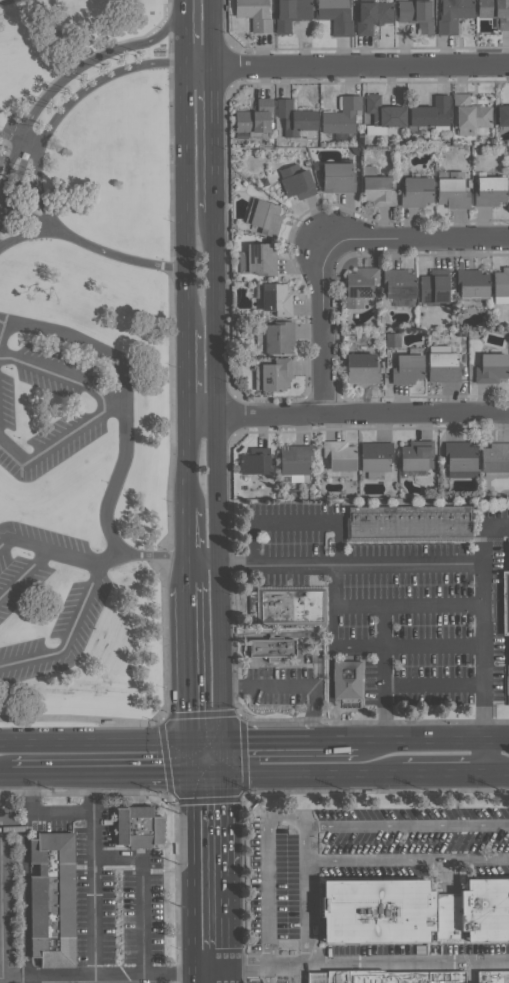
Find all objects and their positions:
building: (495, 12)
building: (254, 13)
building: (336, 15)
building: (416, 15)
building: (452, 15)
building: (372, 16)
road: (187, 33)
road: (214, 33)
road: (348, 66)
road: (66, 80)
road: (89, 89)
building: (431, 113)
building: (469, 115)
building: (502, 115)
building: (341, 116)
building: (254, 118)
building: (295, 118)
road: (9, 138)
road: (215, 139)
building: (2, 161)
building: (23, 169)
toll booth: (8, 172)
building: (337, 177)
building: (296, 182)
road: (39, 191)
building: (378, 191)
building: (416, 191)
building: (452, 191)
building: (490, 191)
road: (187, 198)
building: (264, 217)
road: (415, 235)
road: (26, 236)
road: (90, 249)
building: (257, 259)
building: (398, 284)
building: (472, 285)
building: (359, 286)
building: (501, 286)
building: (433, 288)
building: (276, 299)
road: (217, 313)
road: (319, 326)
road: (2, 329)
building: (278, 338)
building: (392, 340)
building: (360, 349)
building: (441, 365)
park: (87, 368)
building: (361, 368)
building: (406, 369)
building: (491, 369)
road: (188, 372)
road: (61, 375)
building: (273, 375)
road: (123, 405)
parking lot: (6, 414)
road: (203, 415)
road: (364, 415)
road: (170, 441)
road: (60, 443)
building: (339, 455)
building: (417, 455)
building: (375, 457)
building: (495, 457)
building: (294, 459)
road: (188, 460)
building: (459, 460)
building: (254, 463)
building: (298, 478)
road: (220, 489)
road: (294, 523)
building: (411, 523)
road: (497, 526)
road: (188, 533)
road: (50, 552)
road: (151, 554)
road: (205, 562)
road: (237, 564)
road: (369, 564)
road: (189, 571)
road: (24, 575)
building: (506, 601)
road: (434, 606)
parking lot: (83, 607)
building: (293, 607)
road: (336, 607)
road: (293, 633)
road: (485, 633)
road: (69, 641)
road: (435, 644)
building: (272, 650)
road: (222, 654)
road: (190, 663)
road: (385, 674)
building: (349, 680)
road: (296, 685)
road: (160, 717)
road: (497, 740)
road: (421, 741)
road: (336, 742)
road: (269, 743)
traffic signals: (223, 744)
road: (111, 745)
traffic signals: (191, 745)
road: (486, 757)
road: (192, 760)
road: (223, 760)
road: (445, 774)
road: (498, 774)
road: (313, 775)
road: (77, 776)
road: (167, 776)
traffic signals: (192, 776)
road: (207, 776)
traffic signals: (223, 776)
road: (6, 777)
road: (243, 791)
road: (61, 815)
road: (224, 818)
road: (407, 825)
road: (11, 828)
building: (138, 828)
road: (407, 860)
road: (267, 873)
road: (23, 874)
road: (92, 874)
road: (192, 875)
road: (139, 891)
parking lot: (289, 894)
road: (305, 896)
building: (53, 901)
road: (0, 902)
road: (224, 905)
building: (413, 913)
road: (224, 957)
road: (366, 965)
road: (208, 970)
road: (70, 974)
road: (167, 974)
road: (225, 975)
road: (267, 975)
road: (293, 975)
building: (493, 977)
road: (192, 978)
building: (389, 978)

